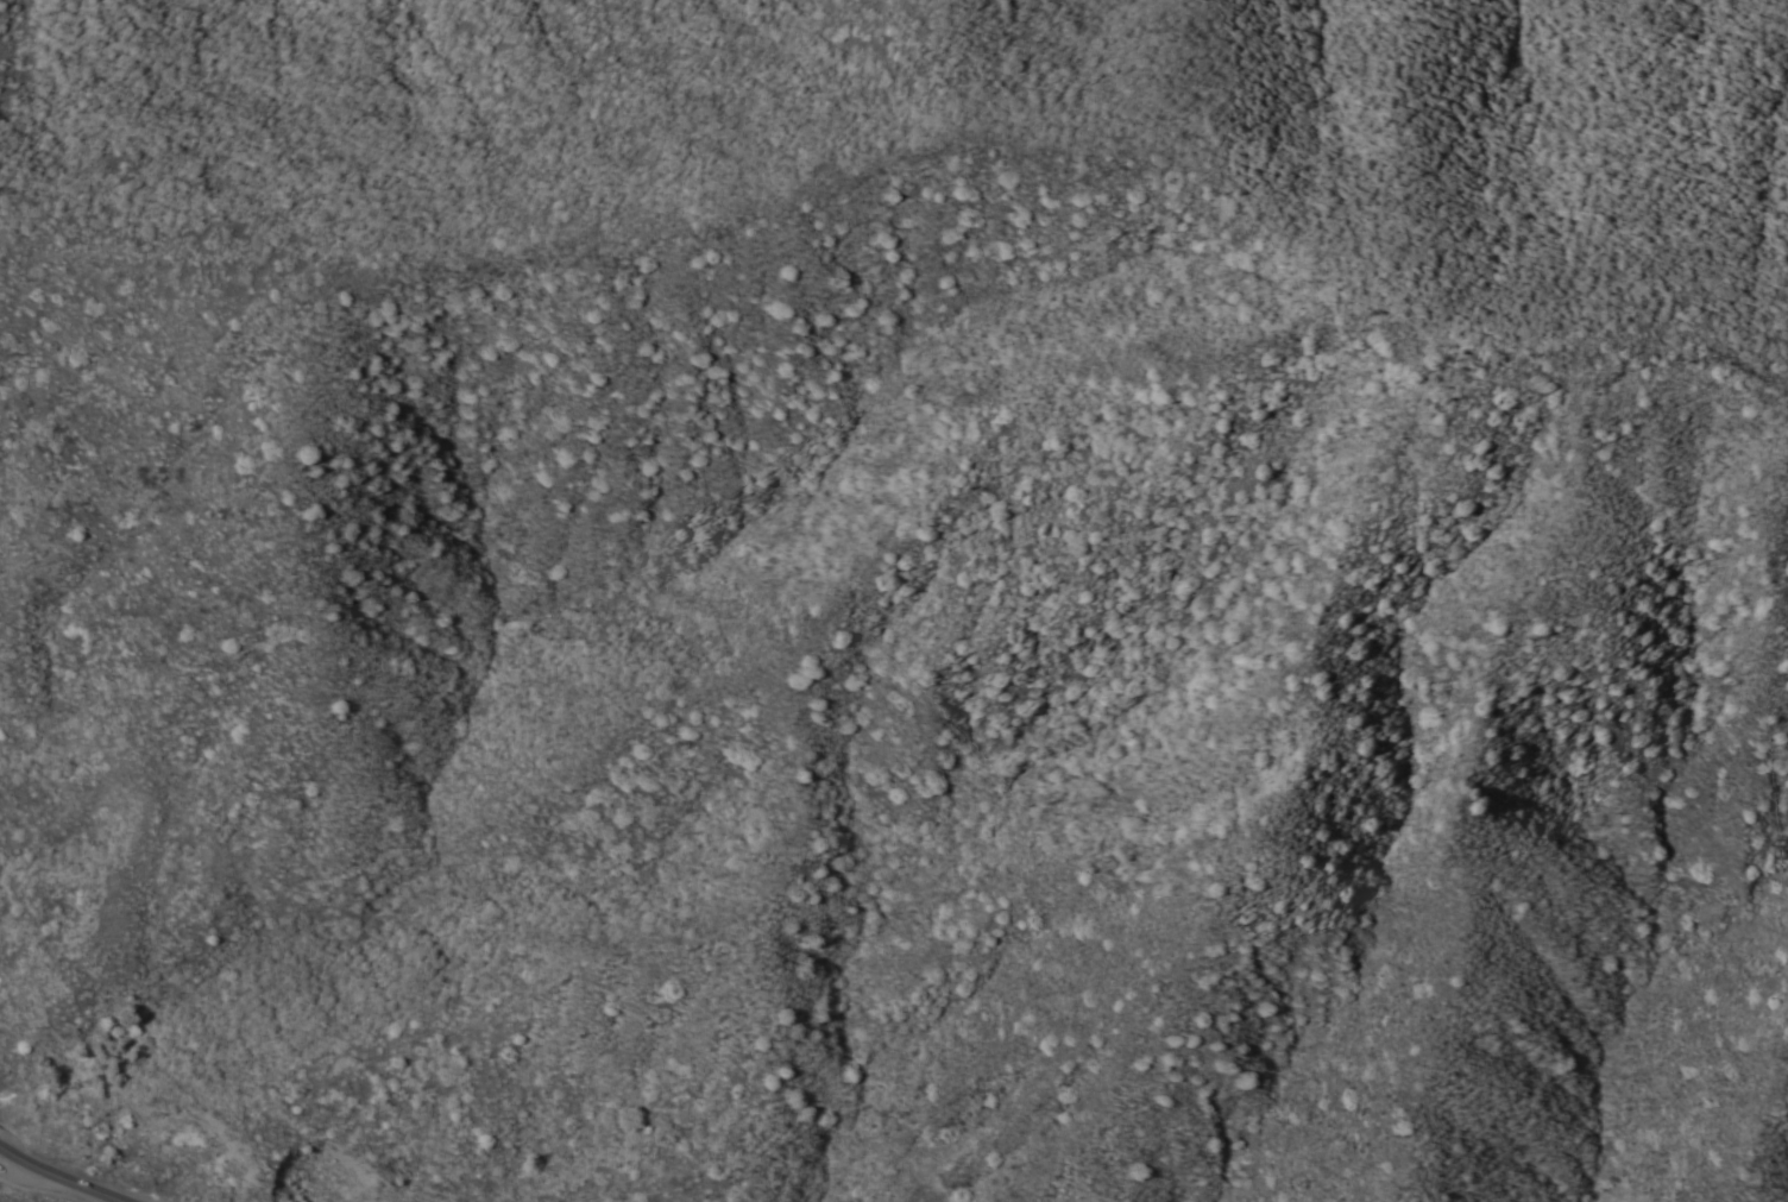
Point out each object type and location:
road: (58, 1177)

